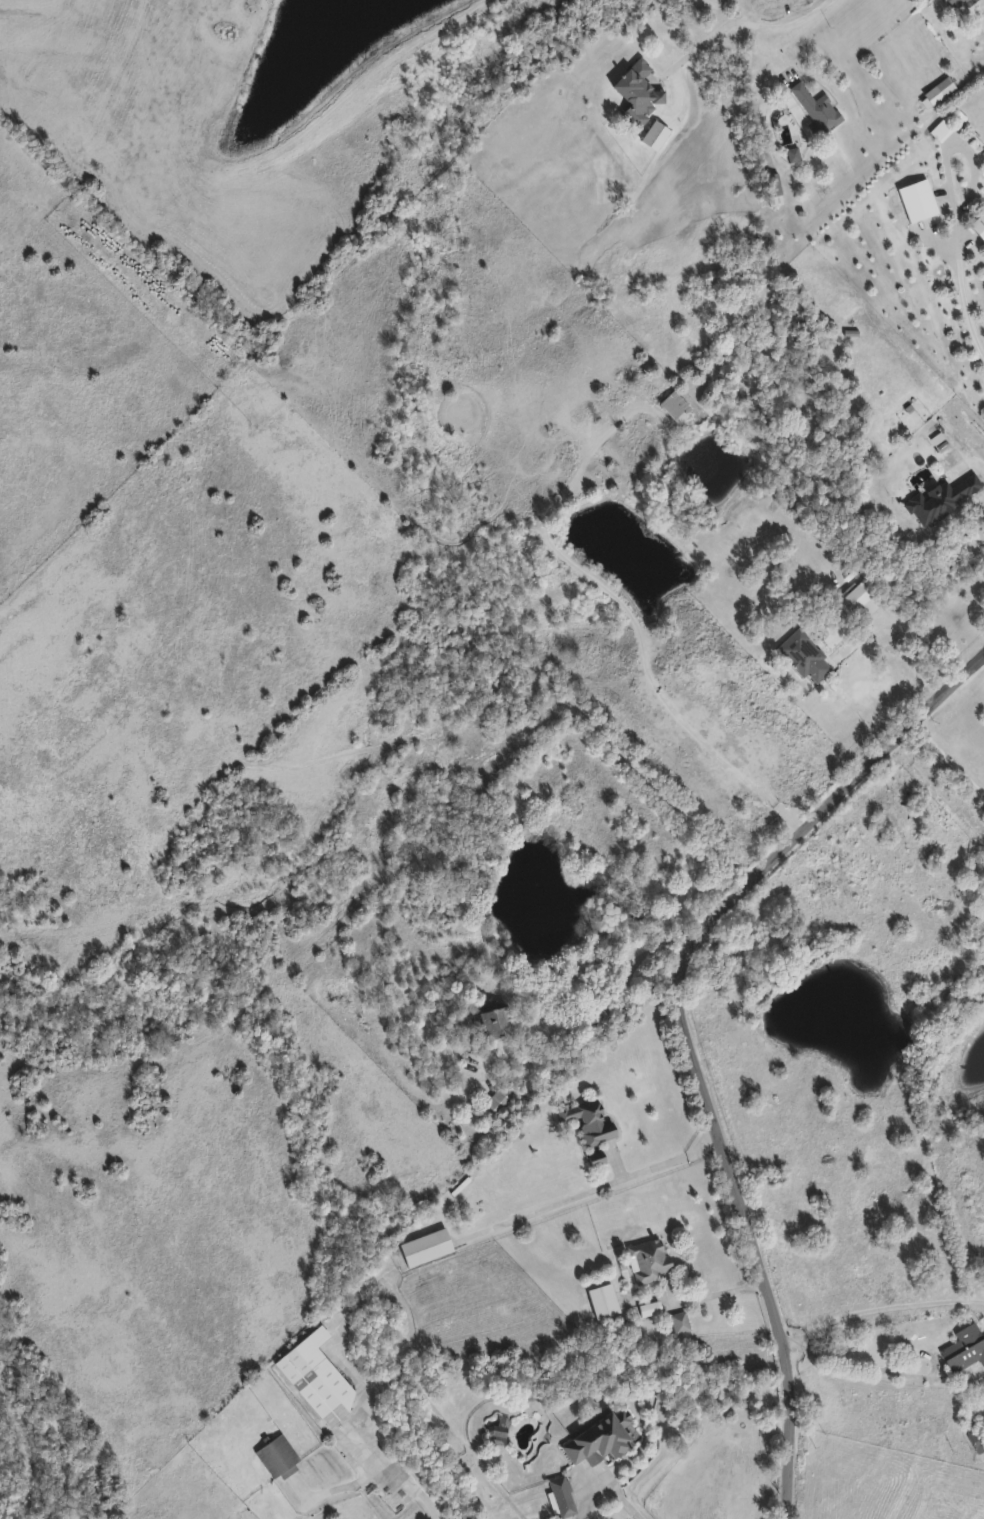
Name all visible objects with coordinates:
building: (958, 3)
road: (799, 21)
road: (710, 37)
building: (640, 94)
building: (939, 95)
building: (819, 110)
road: (953, 147)
building: (774, 191)
building: (980, 227)
building: (936, 246)
road: (956, 295)
road: (966, 463)
building: (943, 501)
building: (863, 602)
building: (805, 658)
road: (947, 761)
road: (937, 793)
building: (500, 1026)
road: (681, 1031)
building: (499, 1103)
building: (590, 1123)
road: (670, 1159)
building: (598, 1160)
building: (649, 1263)
road: (715, 1292)
building: (605, 1303)
building: (652, 1310)
building: (682, 1325)
building: (970, 1357)
road: (857, 1360)
building: (318, 1379)
building: (602, 1441)
building: (978, 1442)
building: (279, 1459)
road: (400, 1469)
road: (606, 1492)
building: (563, 1498)

